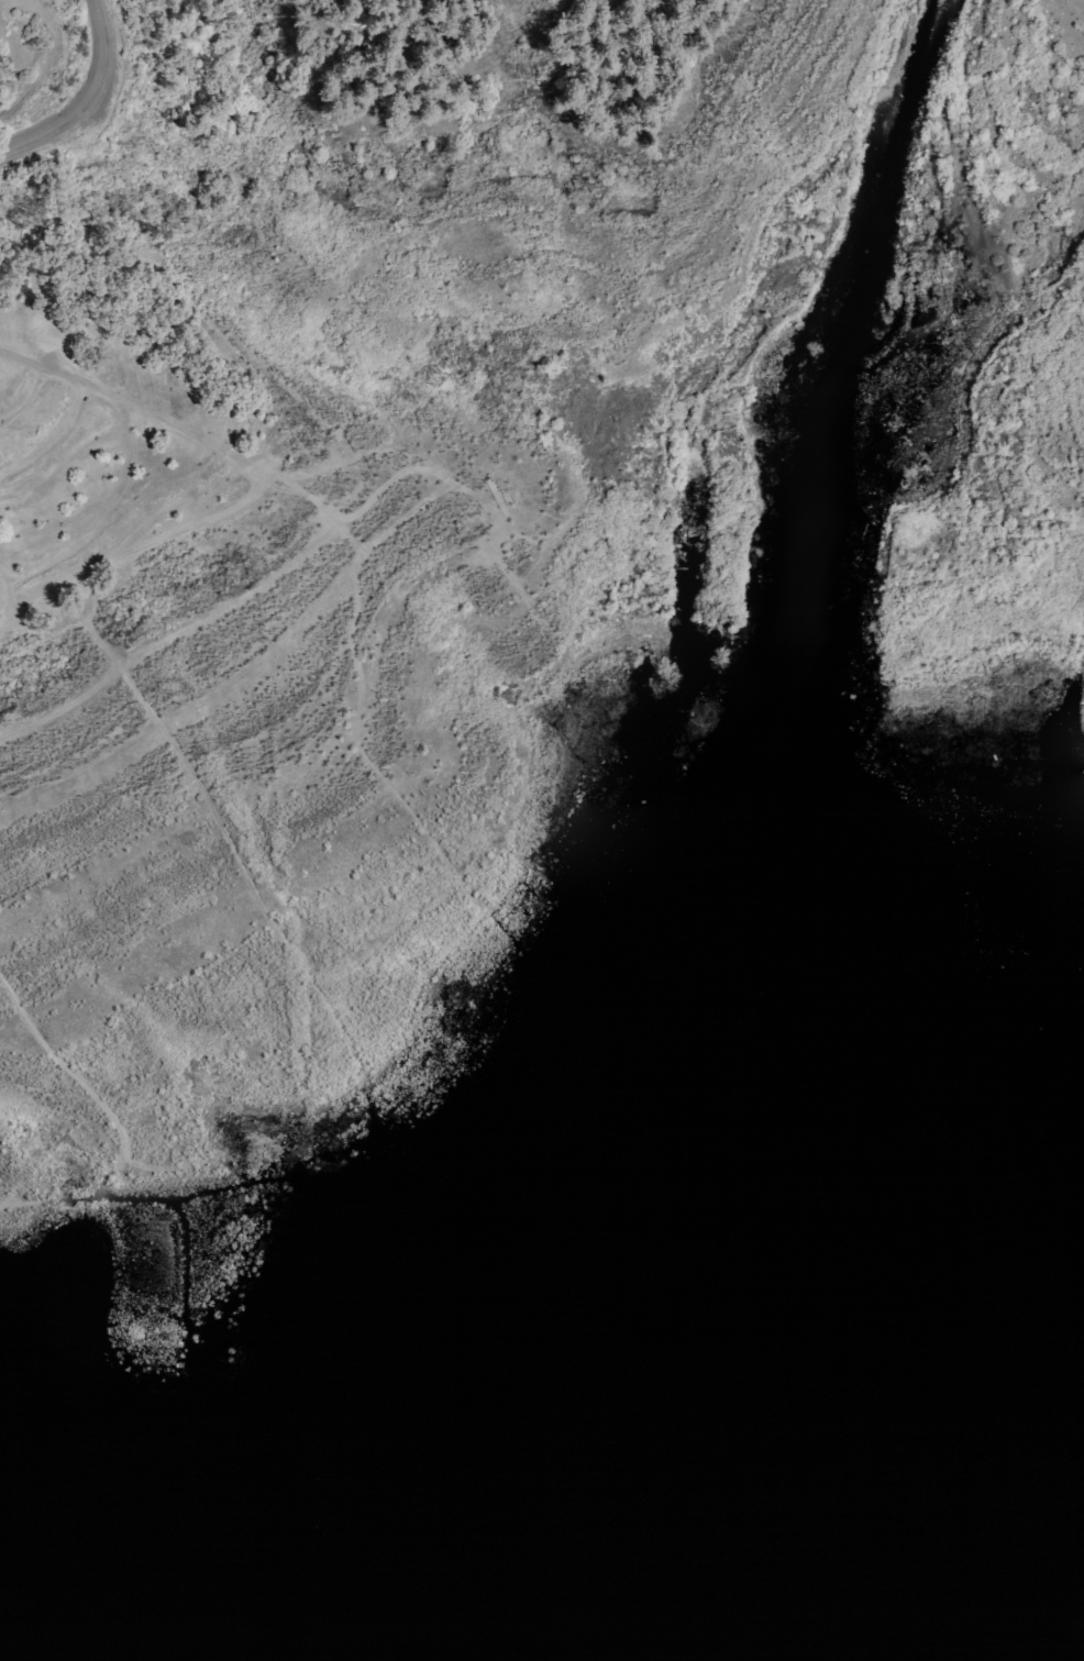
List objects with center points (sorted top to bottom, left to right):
road: (27, 59)
road: (82, 92)
road: (109, 396)
road: (26, 397)
road: (54, 435)
park: (455, 514)
road: (154, 541)
road: (7, 598)

